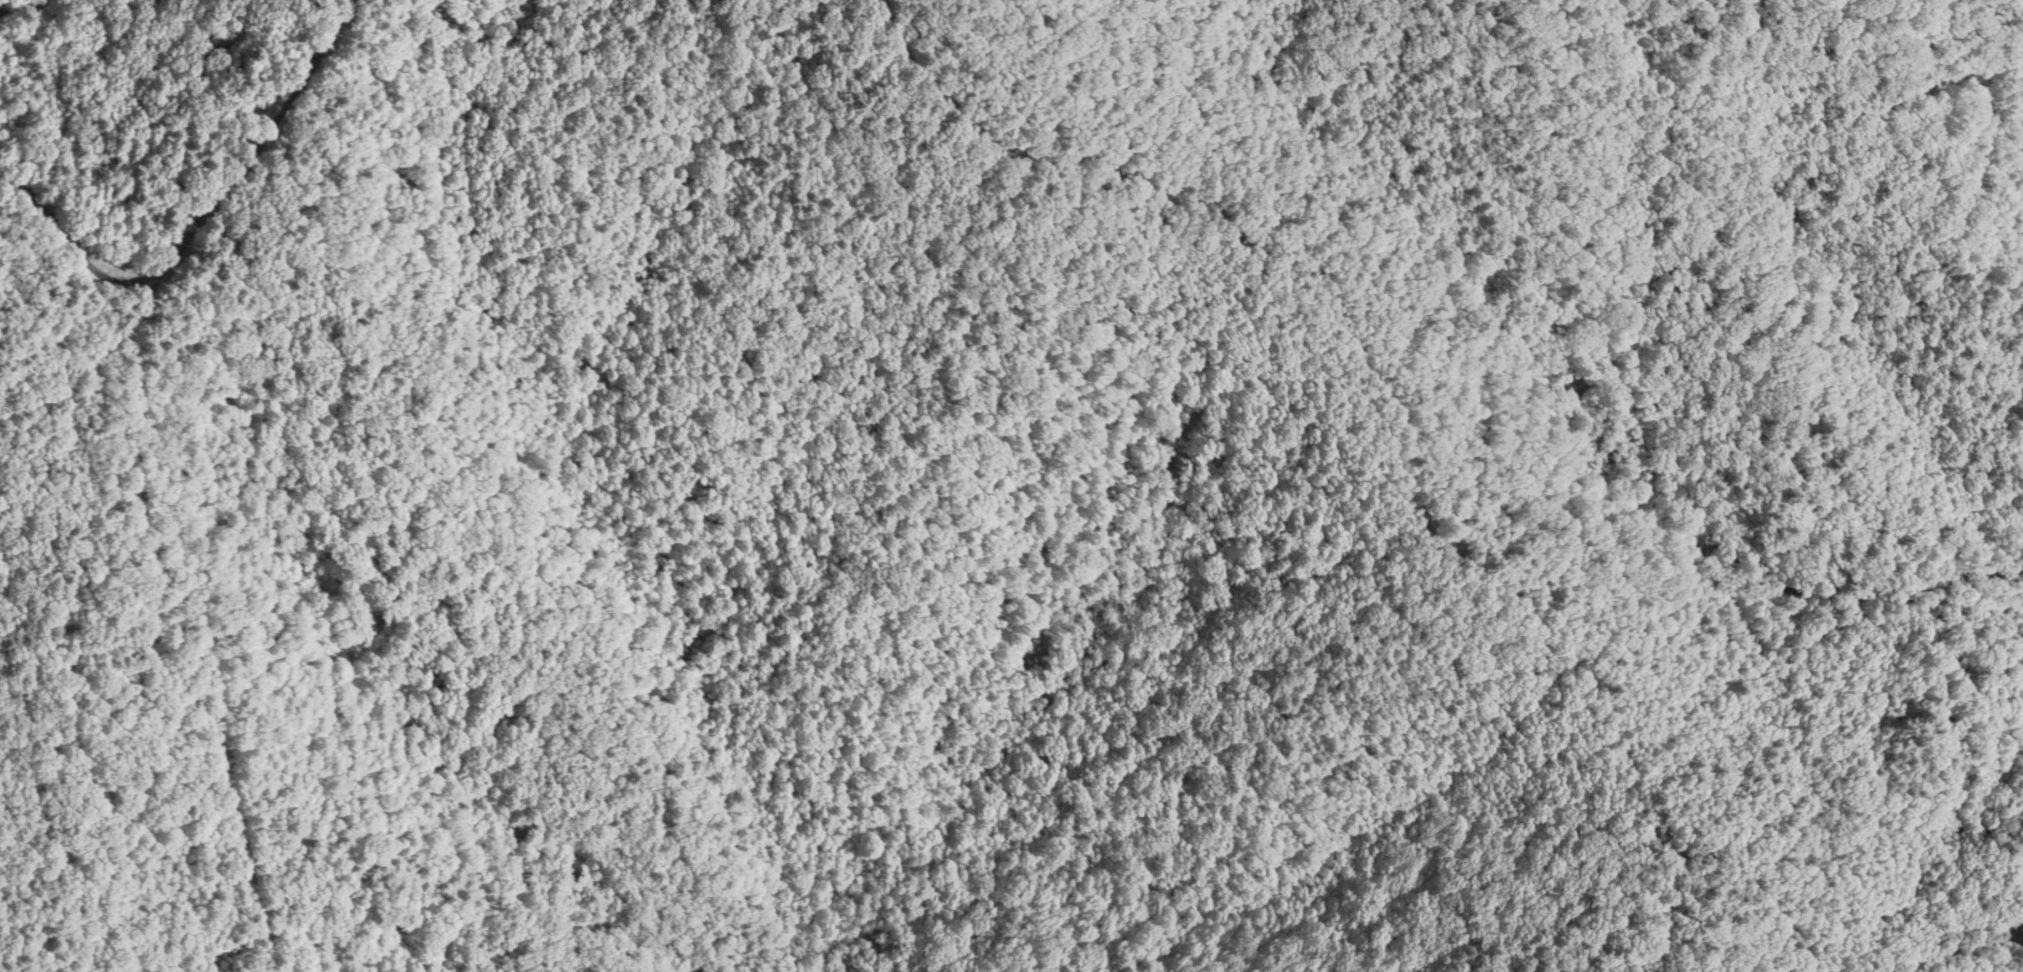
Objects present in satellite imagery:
park: (1915, 865)

